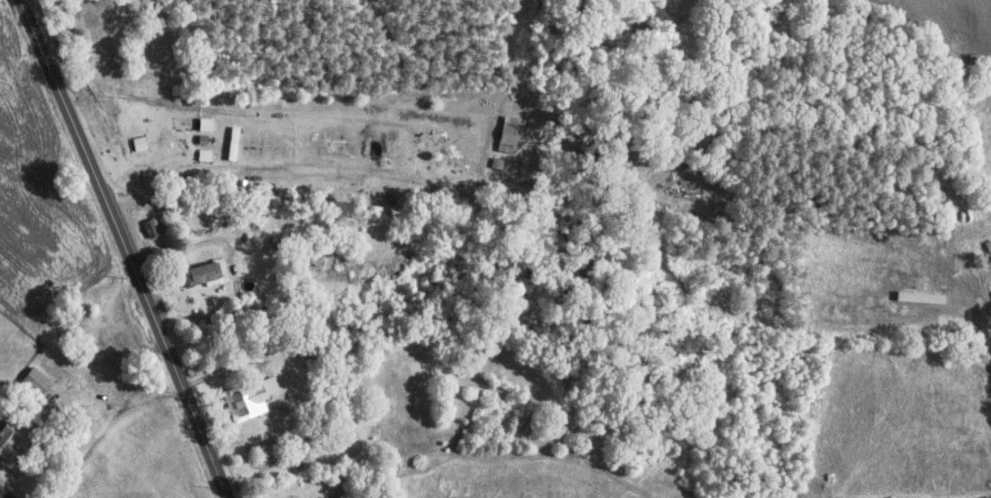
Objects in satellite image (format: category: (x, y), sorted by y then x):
building: (204, 124)
building: (201, 139)
building: (139, 143)
building: (231, 143)
building: (204, 155)
road: (566, 181)
building: (174, 184)
building: (188, 184)
crop: (40, 203)
building: (152, 226)
building: (269, 238)
road: (125, 247)
building: (303, 256)
road: (238, 268)
building: (204, 273)
road: (329, 354)
building: (34, 380)
building: (244, 402)
road: (244, 434)
building: (6, 445)
building: (345, 479)
crop: (516, 479)
building: (345, 492)

